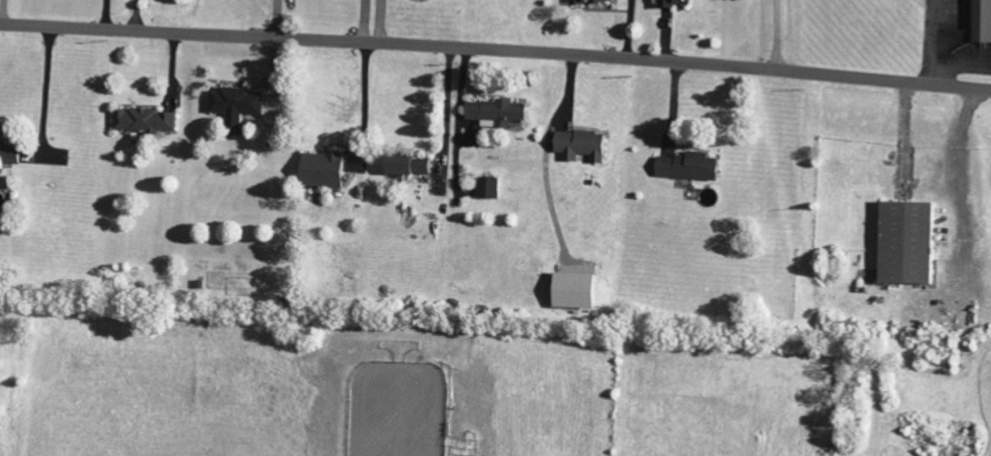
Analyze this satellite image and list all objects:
building: (600, 1)
building: (679, 3)
road: (277, 18)
building: (984, 21)
road: (776, 35)
road: (496, 48)
building: (239, 104)
building: (501, 112)
building: (148, 120)
building: (586, 145)
building: (11, 155)
building: (414, 165)
building: (694, 166)
building: (329, 169)
building: (491, 187)
building: (913, 242)
building: (582, 290)

